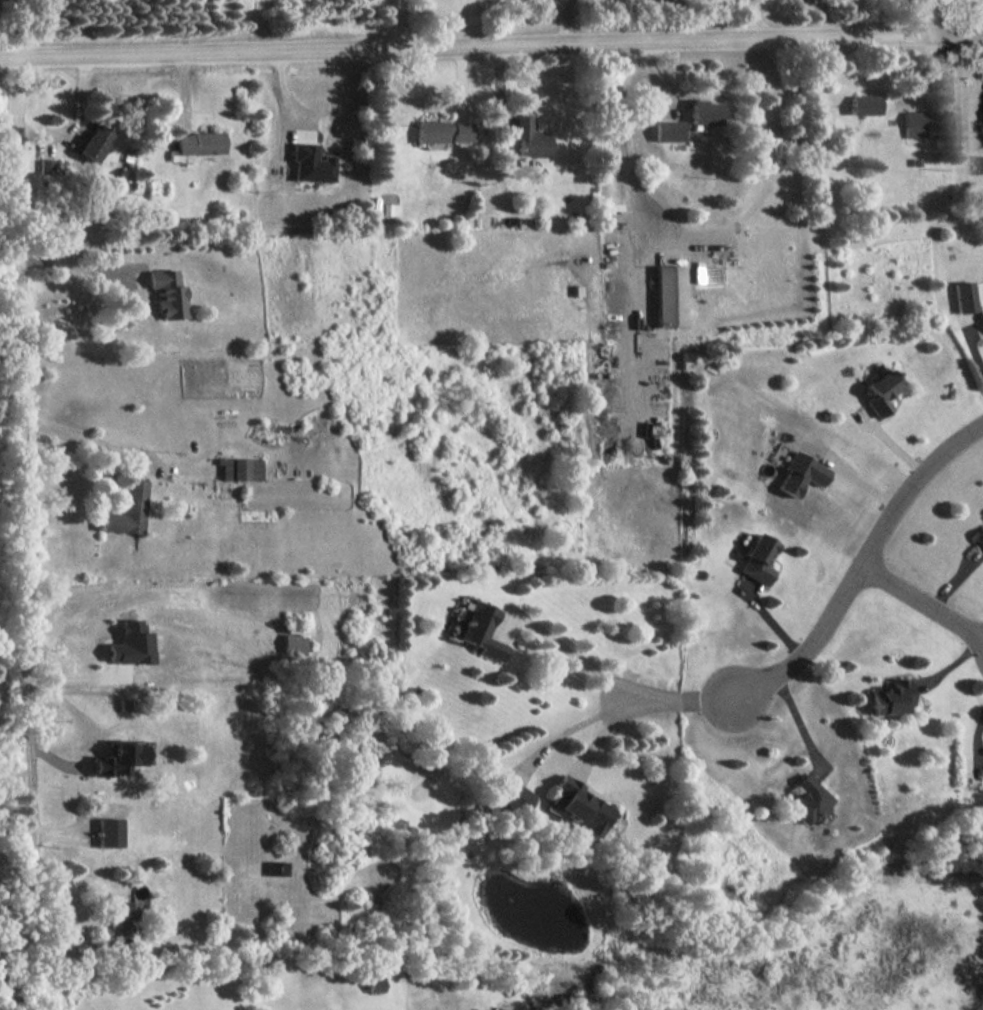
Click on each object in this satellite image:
road: (823, 19)
road: (757, 20)
road: (563, 22)
road: (433, 25)
road: (491, 47)
building: (863, 105)
building: (704, 113)
road: (74, 121)
building: (914, 124)
building: (668, 131)
building: (531, 138)
building: (95, 143)
building: (197, 144)
building: (764, 151)
building: (310, 164)
building: (46, 166)
road: (633, 200)
building: (390, 209)
road: (77, 262)
building: (167, 294)
building: (668, 296)
building: (963, 297)
building: (982, 318)
building: (880, 392)
road: (78, 435)
building: (240, 469)
building: (799, 474)
building: (127, 510)
road: (22, 536)
building: (979, 538)
building: (757, 559)
road: (859, 565)
road: (920, 601)
building: (482, 631)
building: (130, 644)
road: (612, 686)
building: (891, 698)
road: (601, 738)
road: (976, 740)
building: (116, 758)
building: (515, 799)
building: (808, 800)
building: (580, 806)
building: (108, 832)
building: (275, 868)
building: (120, 917)
building: (373, 985)
building: (476, 1009)

